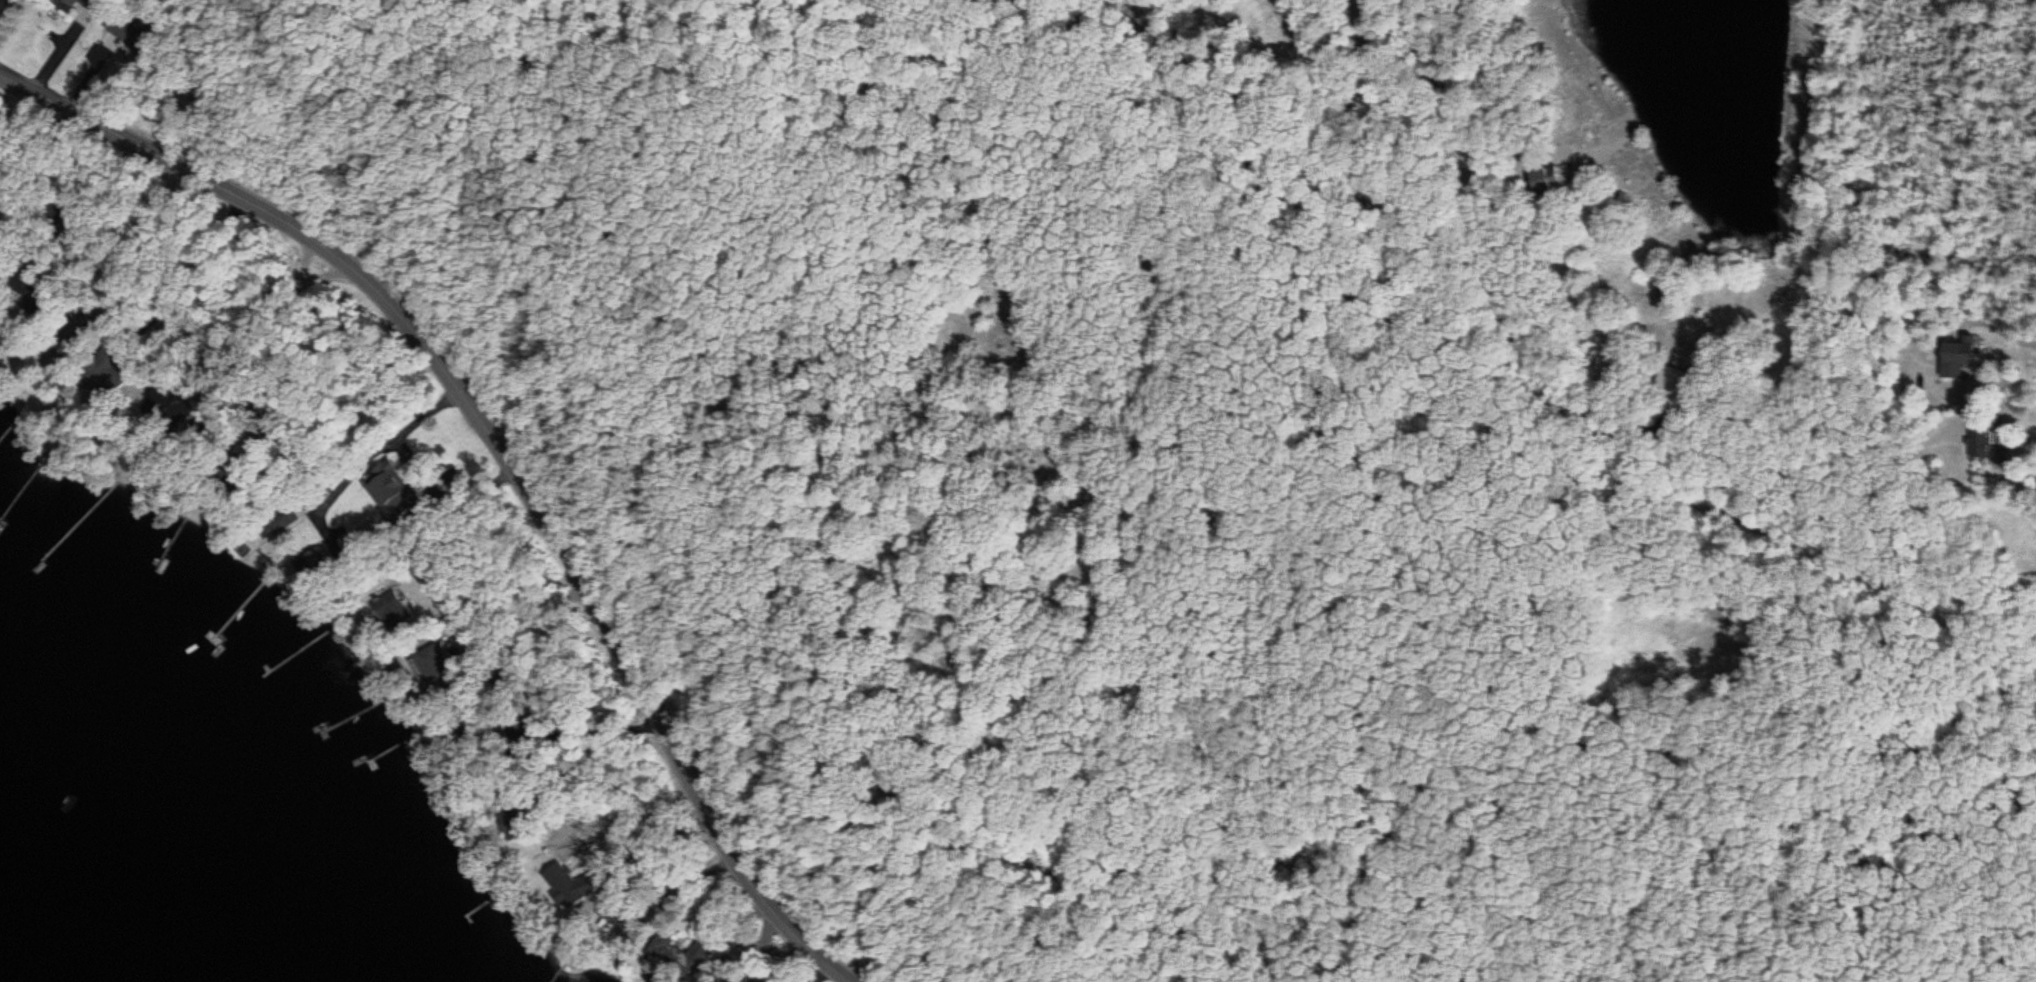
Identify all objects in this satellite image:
building: (83, 4)
building: (130, 36)
building: (1545, 181)
building: (1960, 355)
road: (1584, 431)
building: (1987, 443)
road: (380, 449)
road: (501, 450)
building: (388, 497)
road: (580, 721)
road: (525, 732)
building: (699, 958)

